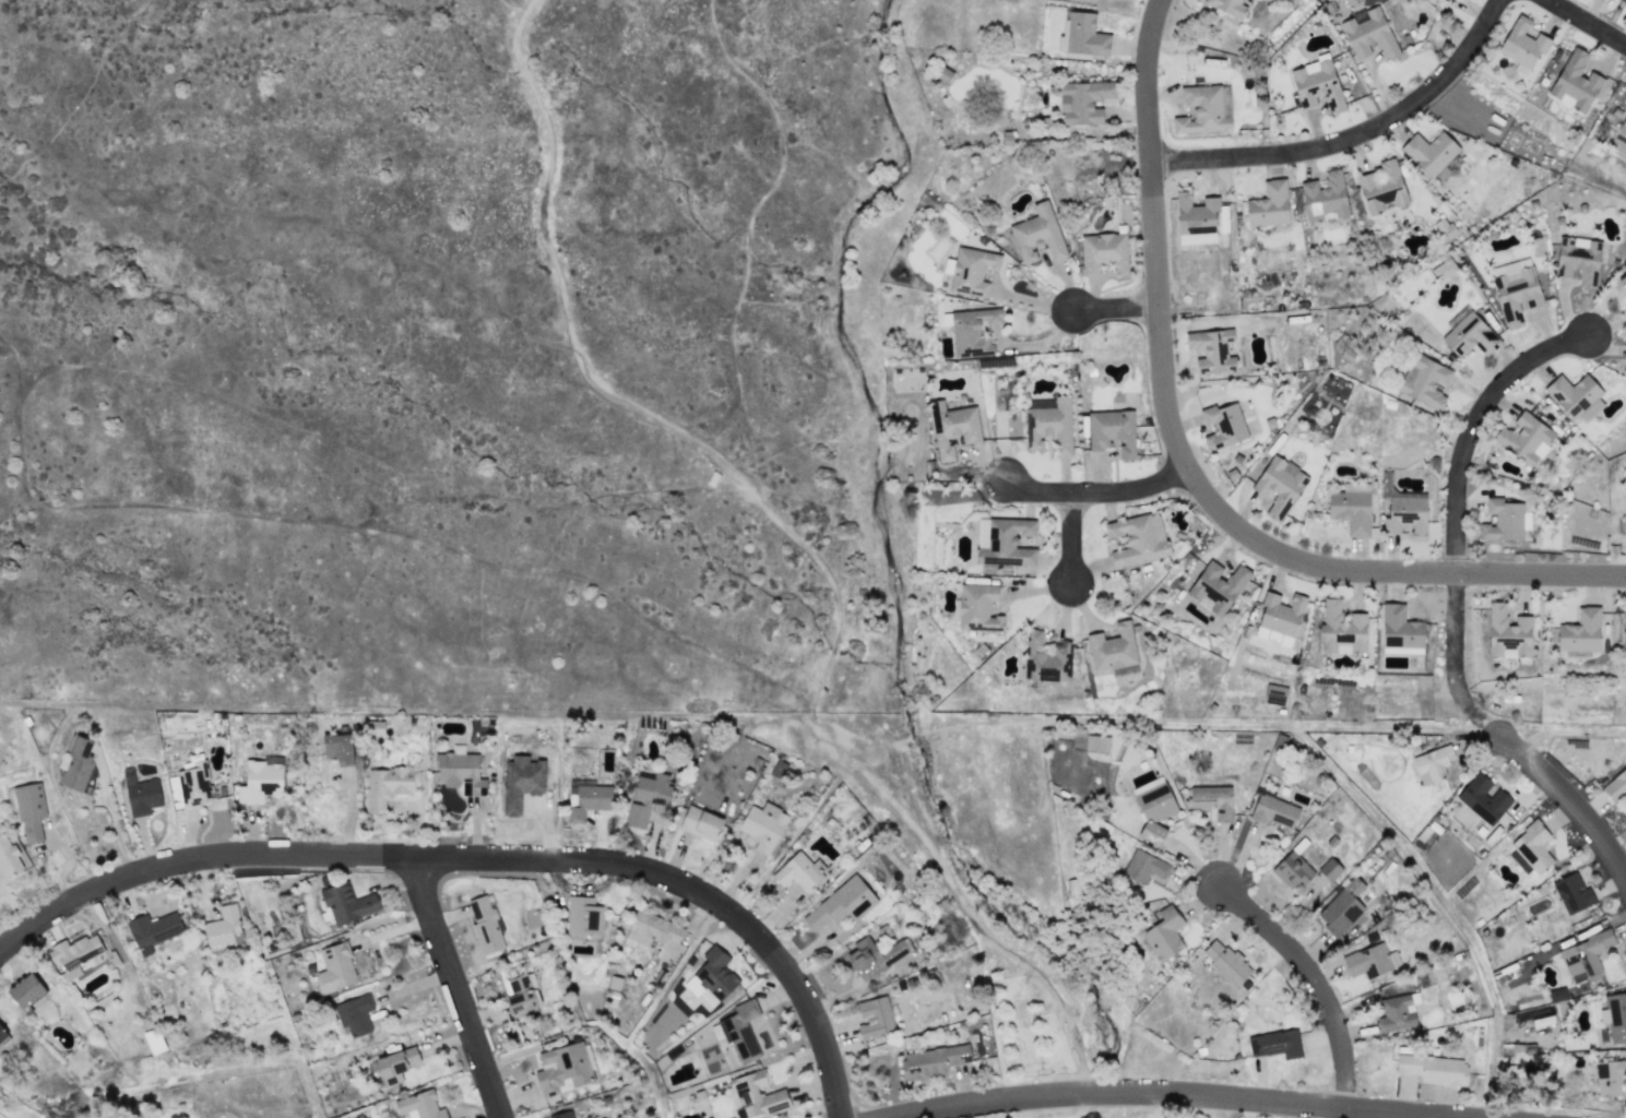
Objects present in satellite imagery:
building: (1227, 7)
road: (1585, 23)
building: (1368, 33)
building: (1081, 34)
building: (1522, 43)
road: (1147, 80)
building: (1575, 81)
building: (1317, 85)
building: (1082, 100)
building: (1201, 110)
building: (1623, 127)
road: (1353, 139)
building: (1429, 152)
building: (1381, 187)
building: (1325, 197)
building: (1268, 204)
building: (1196, 218)
building: (1444, 227)
building: (1037, 234)
road: (1154, 235)
building: (1104, 252)
building: (1578, 260)
building: (971, 270)
building: (1444, 270)
building: (1515, 289)
road: (1116, 309)
building: (970, 331)
building: (1469, 333)
road: (1035, 347)
building: (1211, 350)
building: (1424, 381)
road: (616, 396)
building: (1576, 396)
building: (1049, 424)
building: (1223, 425)
road: (1476, 427)
building: (954, 428)
building: (1112, 430)
building: (1524, 438)
building: (1279, 486)
road: (1089, 492)
building: (1351, 508)
building: (1403, 510)
building: (1504, 521)
building: (982, 532)
building: (1137, 538)
road: (1075, 539)
building: (1007, 542)
road: (1305, 562)
building: (1218, 585)
building: (977, 607)
building: (1281, 614)
building: (1625, 625)
building: (1399, 628)
building: (1341, 629)
building: (1580, 631)
building: (1507, 632)
building: (1112, 647)
building: (1045, 658)
building: (1274, 693)
building: (1096, 742)
road: (1510, 742)
building: (337, 748)
building: (1432, 763)
building: (76, 764)
building: (776, 768)
building: (459, 770)
building: (524, 776)
building: (260, 781)
building: (388, 785)
building: (1615, 786)
building: (140, 794)
building: (646, 797)
building: (585, 798)
building: (1483, 798)
building: (1212, 800)
building: (29, 810)
building: (1273, 810)
building: (1153, 811)
road: (114, 821)
building: (700, 823)
building: (762, 825)
building: (1530, 847)
building: (8, 858)
road: (194, 858)
building: (1143, 866)
building: (1292, 869)
building: (1329, 869)
building: (799, 871)
road: (691, 889)
building: (1572, 893)
road: (954, 894)
building: (347, 903)
building: (841, 903)
building: (1344, 905)
building: (583, 915)
building: (485, 925)
building: (222, 928)
building: (652, 928)
building: (153, 930)
building: (1164, 933)
road: (4, 935)
building: (74, 954)
building: (1585, 955)
building: (1225, 961)
building: (1369, 961)
building: (335, 967)
building: (714, 973)
road: (1312, 978)
road: (456, 986)
building: (25, 990)
building: (521, 994)
building: (1396, 1013)
building: (355, 1014)
building: (1614, 1016)
building: (874, 1018)
building: (741, 1031)
building: (2, 1035)
building: (1274, 1044)
building: (931, 1060)
building: (395, 1065)
building: (562, 1068)
building: (1433, 1069)
building: (1609, 1077)
road: (1175, 1093)
building: (757, 1094)
building: (419, 1105)
building: (562, 1115)

